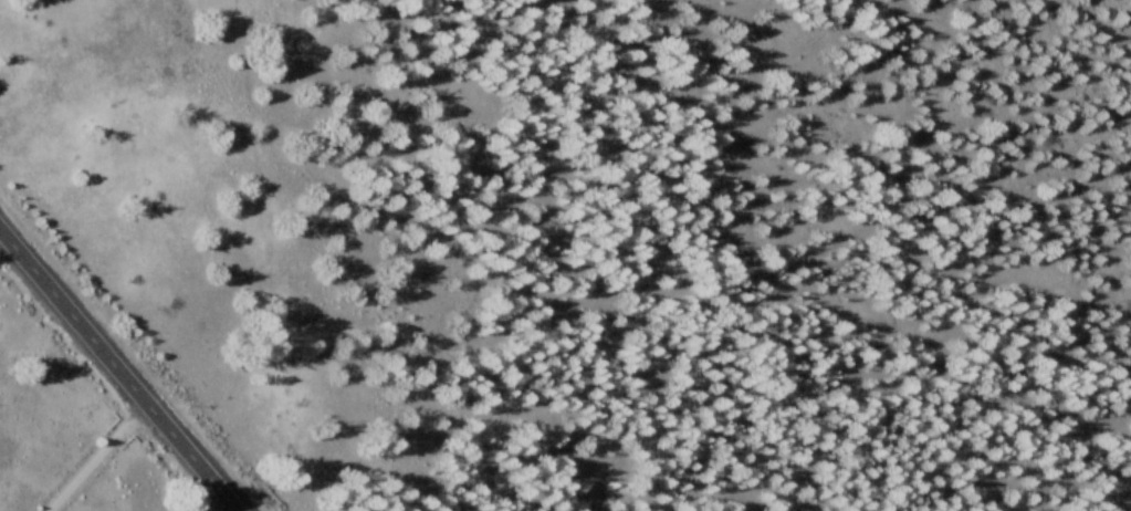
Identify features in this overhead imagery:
road: (116, 373)

